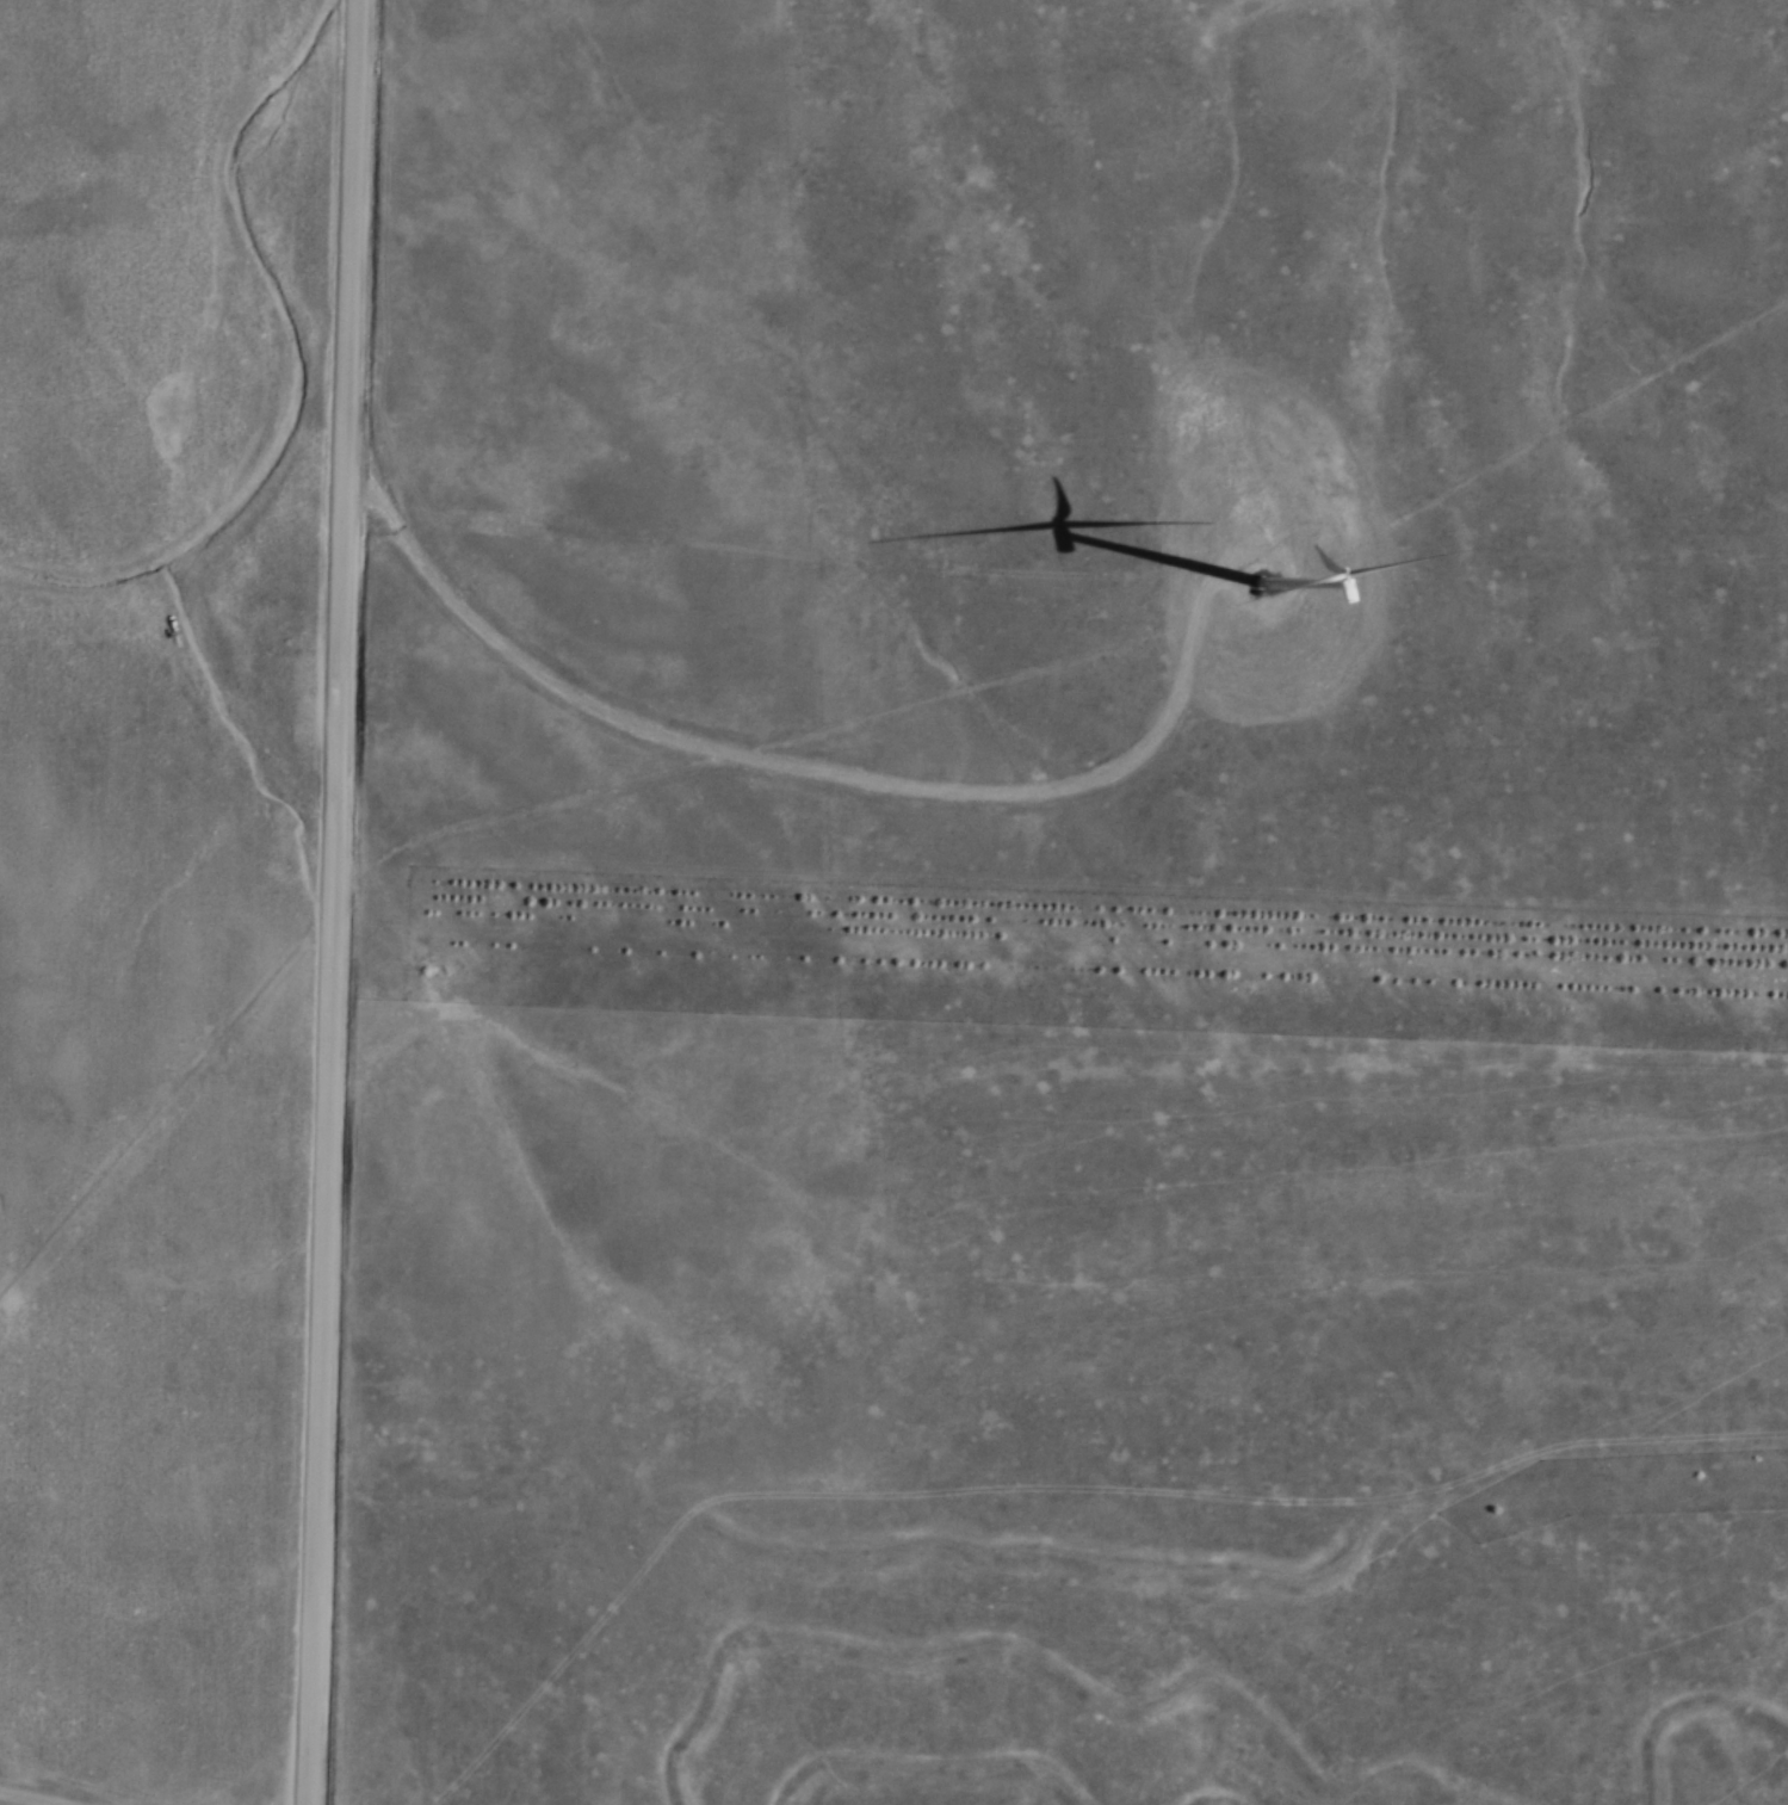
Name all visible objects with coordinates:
wind turbine: (1264, 575)
road: (740, 747)
road: (336, 902)
road: (45, 1794)

